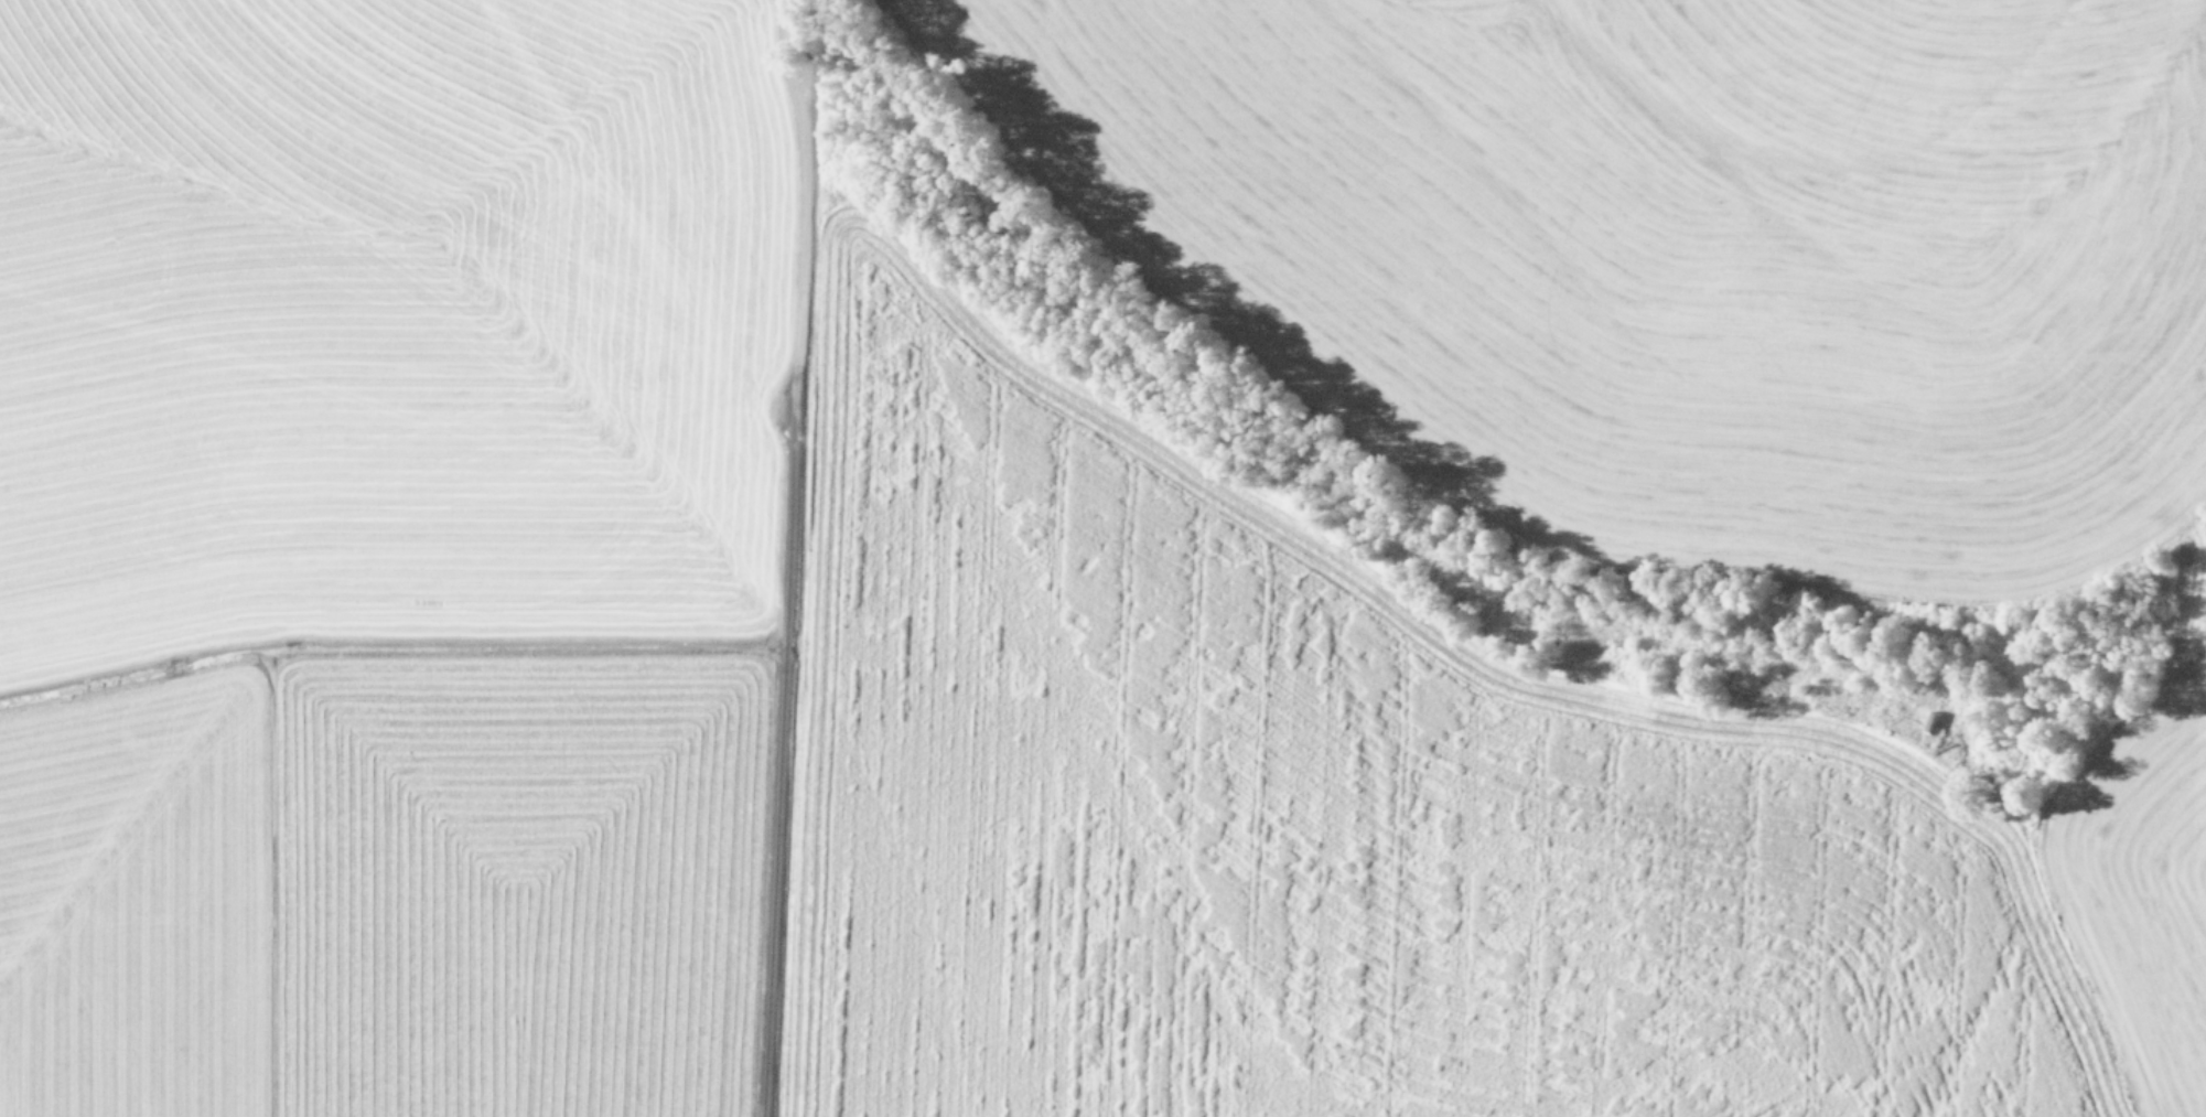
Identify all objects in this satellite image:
crop: (1102, 558)
road: (1459, 866)

